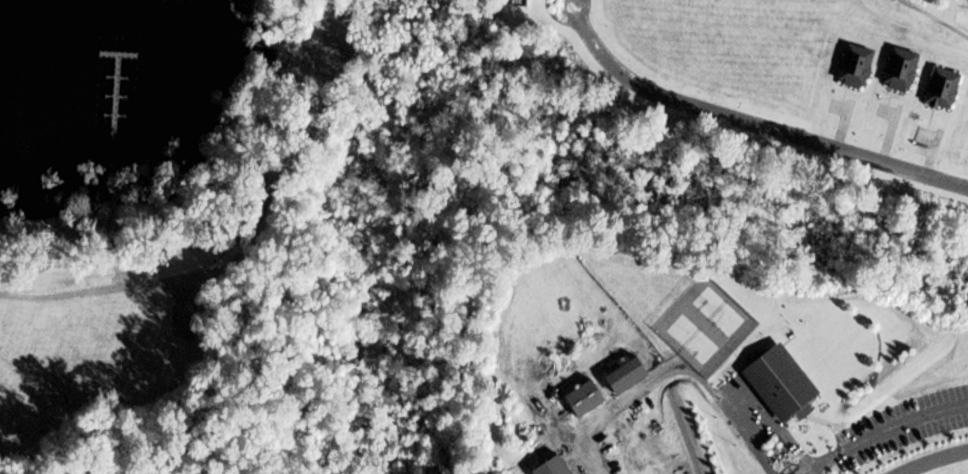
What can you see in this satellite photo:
building: (517, 2)
road: (929, 21)
building: (850, 70)
building: (897, 73)
building: (940, 92)
road: (834, 111)
road: (883, 115)
road: (747, 125)
road: (839, 127)
road: (886, 135)
road: (923, 139)
road: (919, 154)
road: (927, 154)
park: (715, 314)
park: (689, 341)
road: (670, 377)
building: (624, 381)
building: (778, 387)
building: (581, 403)
parking lot: (899, 427)
road: (883, 432)
road: (933, 461)
building: (550, 469)
road: (805, 472)

